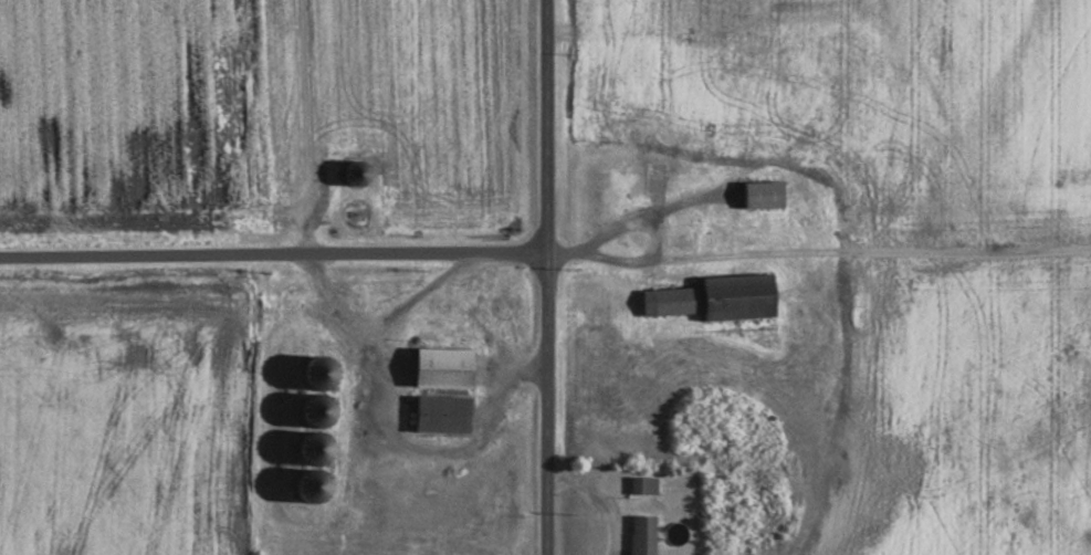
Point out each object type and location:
building: (763, 196)
road: (272, 254)
road: (544, 277)
building: (644, 536)

